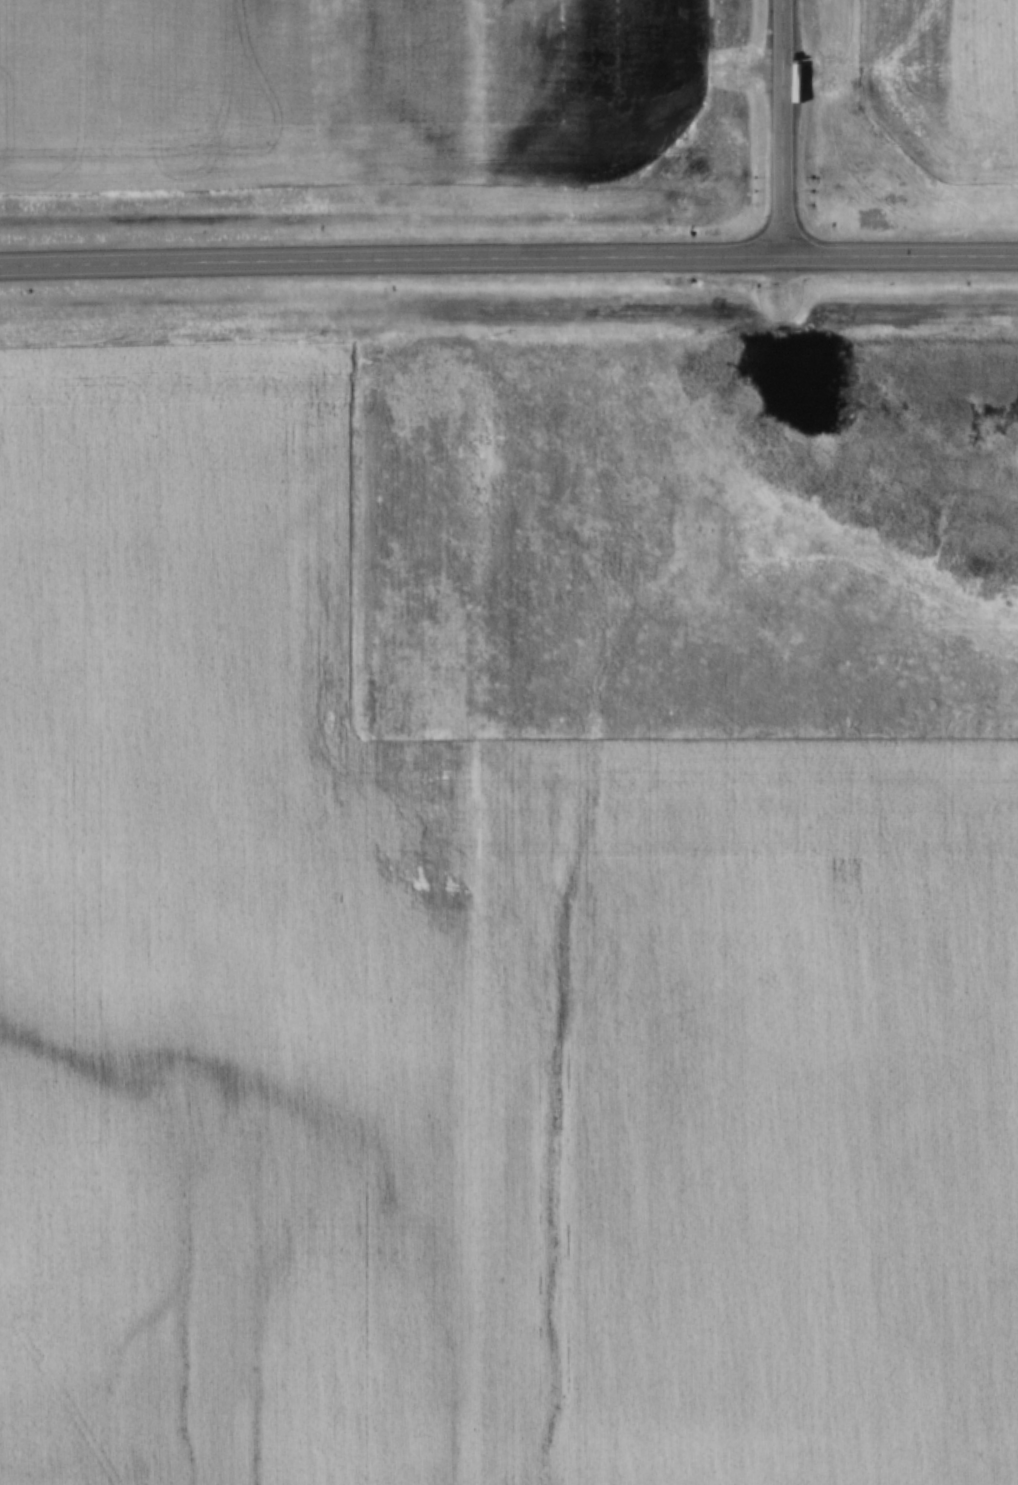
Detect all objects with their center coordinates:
road: (784, 128)
road: (901, 257)
road: (392, 271)

